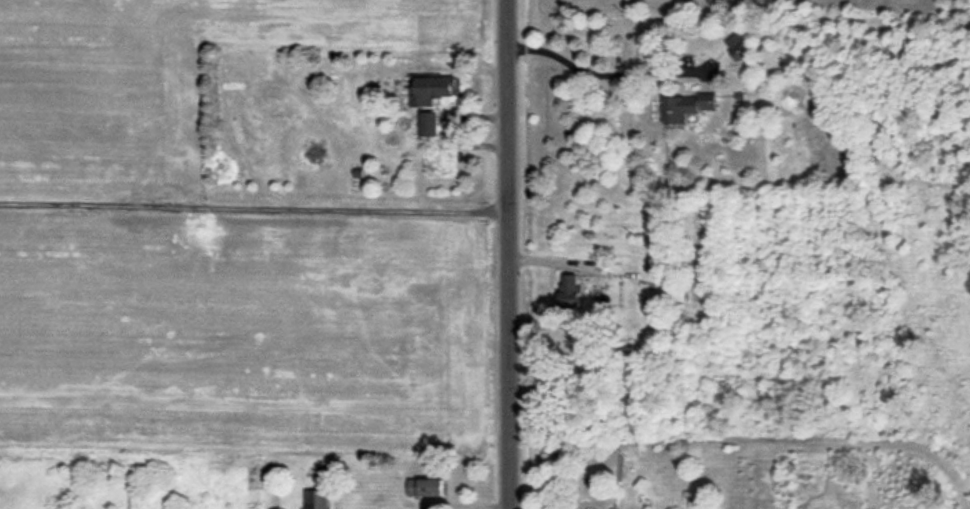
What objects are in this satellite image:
building: (736, 47)
road: (603, 73)
building: (432, 91)
building: (685, 109)
building: (427, 126)
road: (252, 207)
road: (504, 254)
building: (567, 290)
building: (672, 292)
building: (424, 489)
building: (315, 500)

